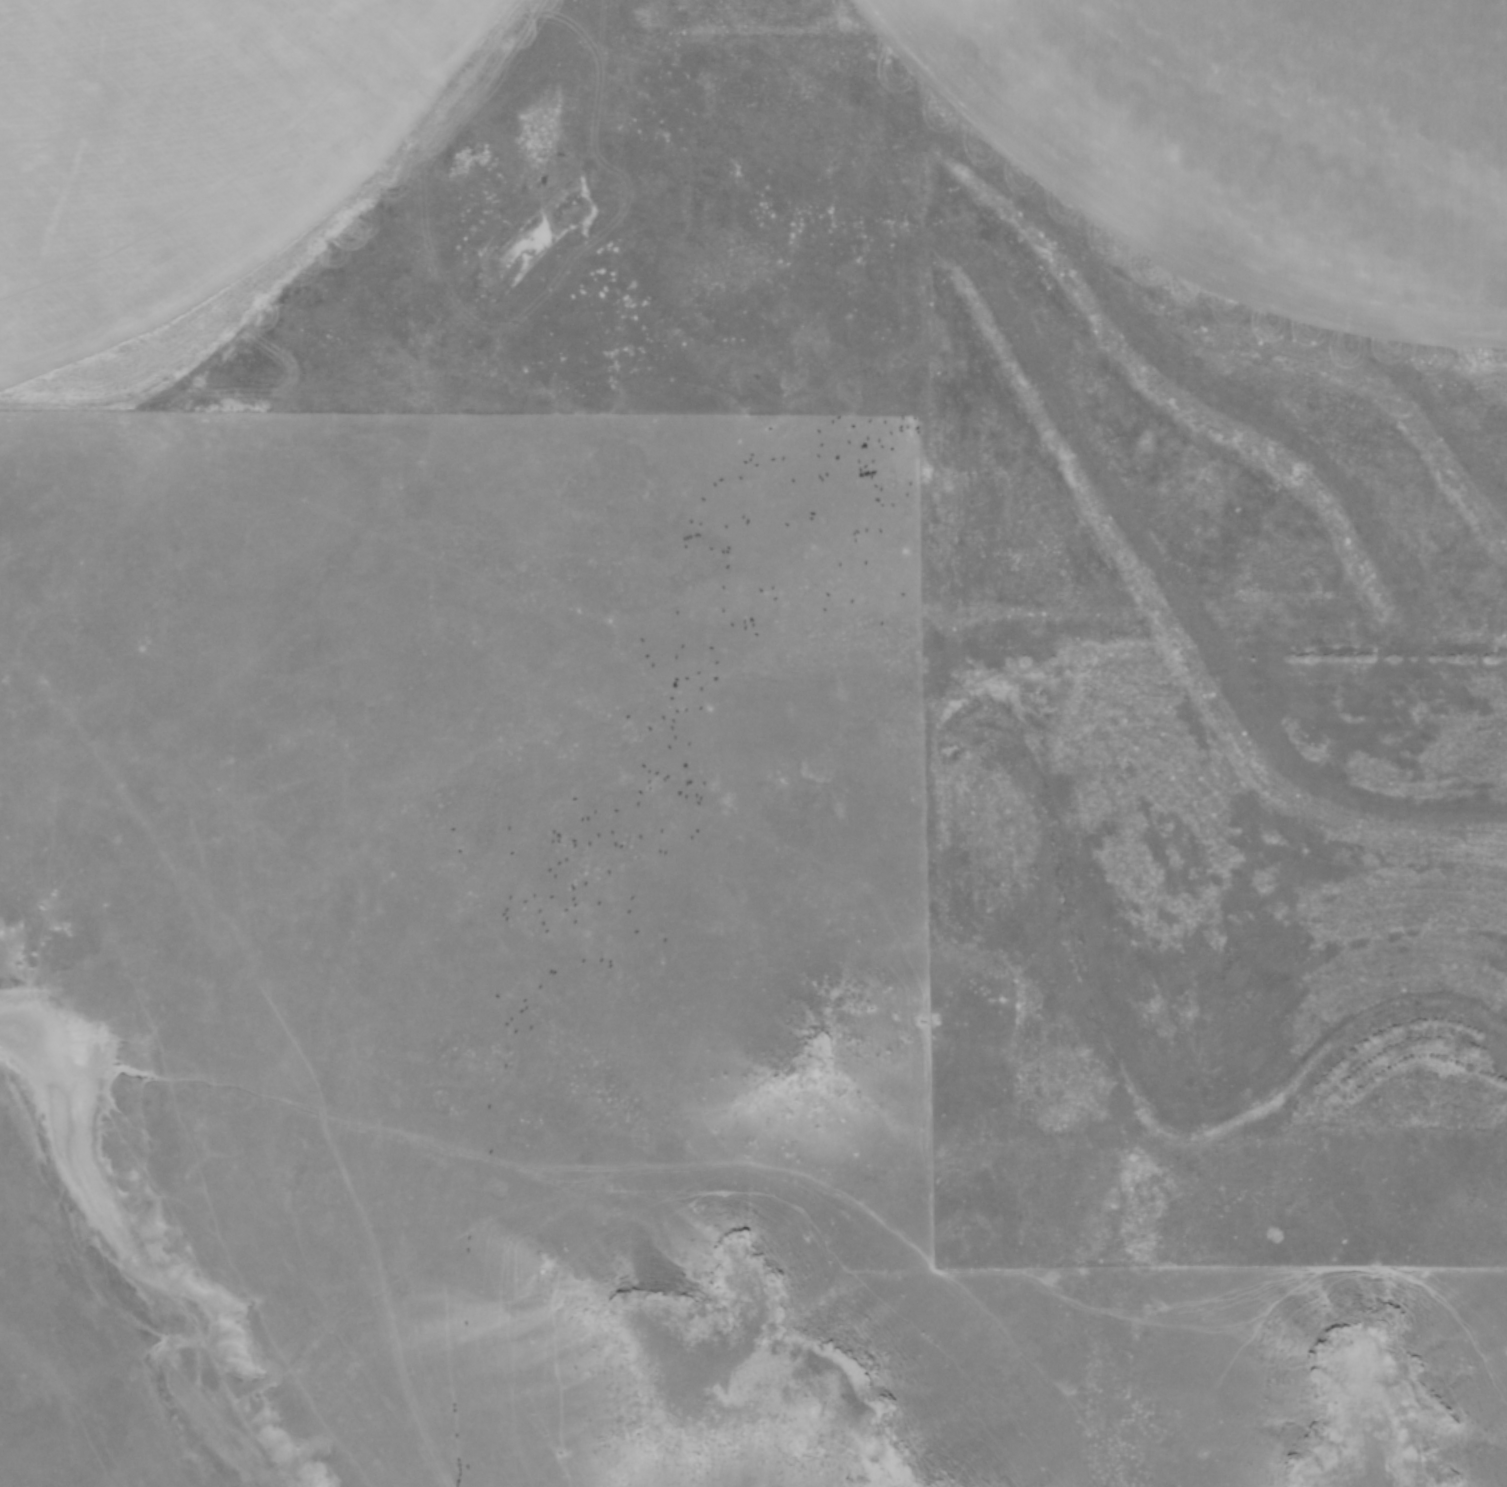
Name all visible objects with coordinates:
crop: (1257, 136)
crop: (184, 164)

